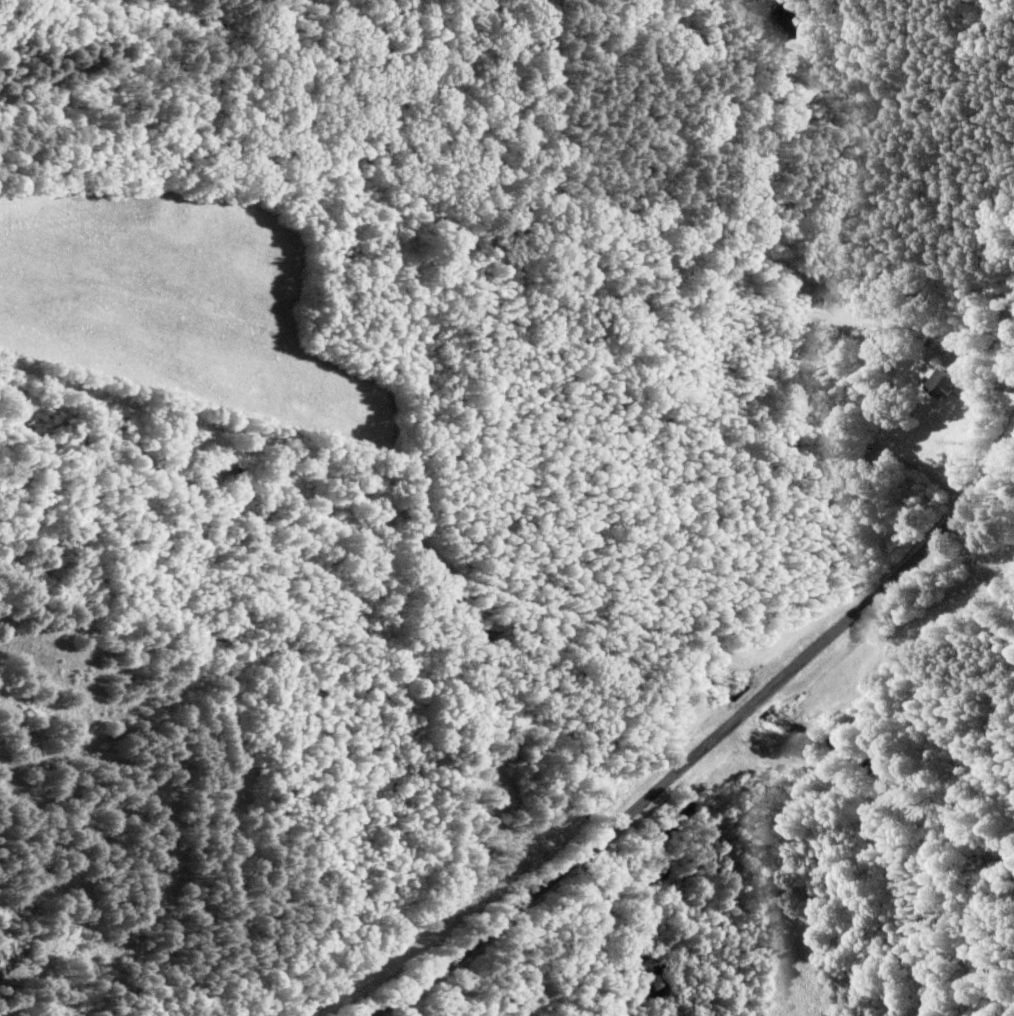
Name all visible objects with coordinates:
building: (937, 386)
road: (646, 706)

